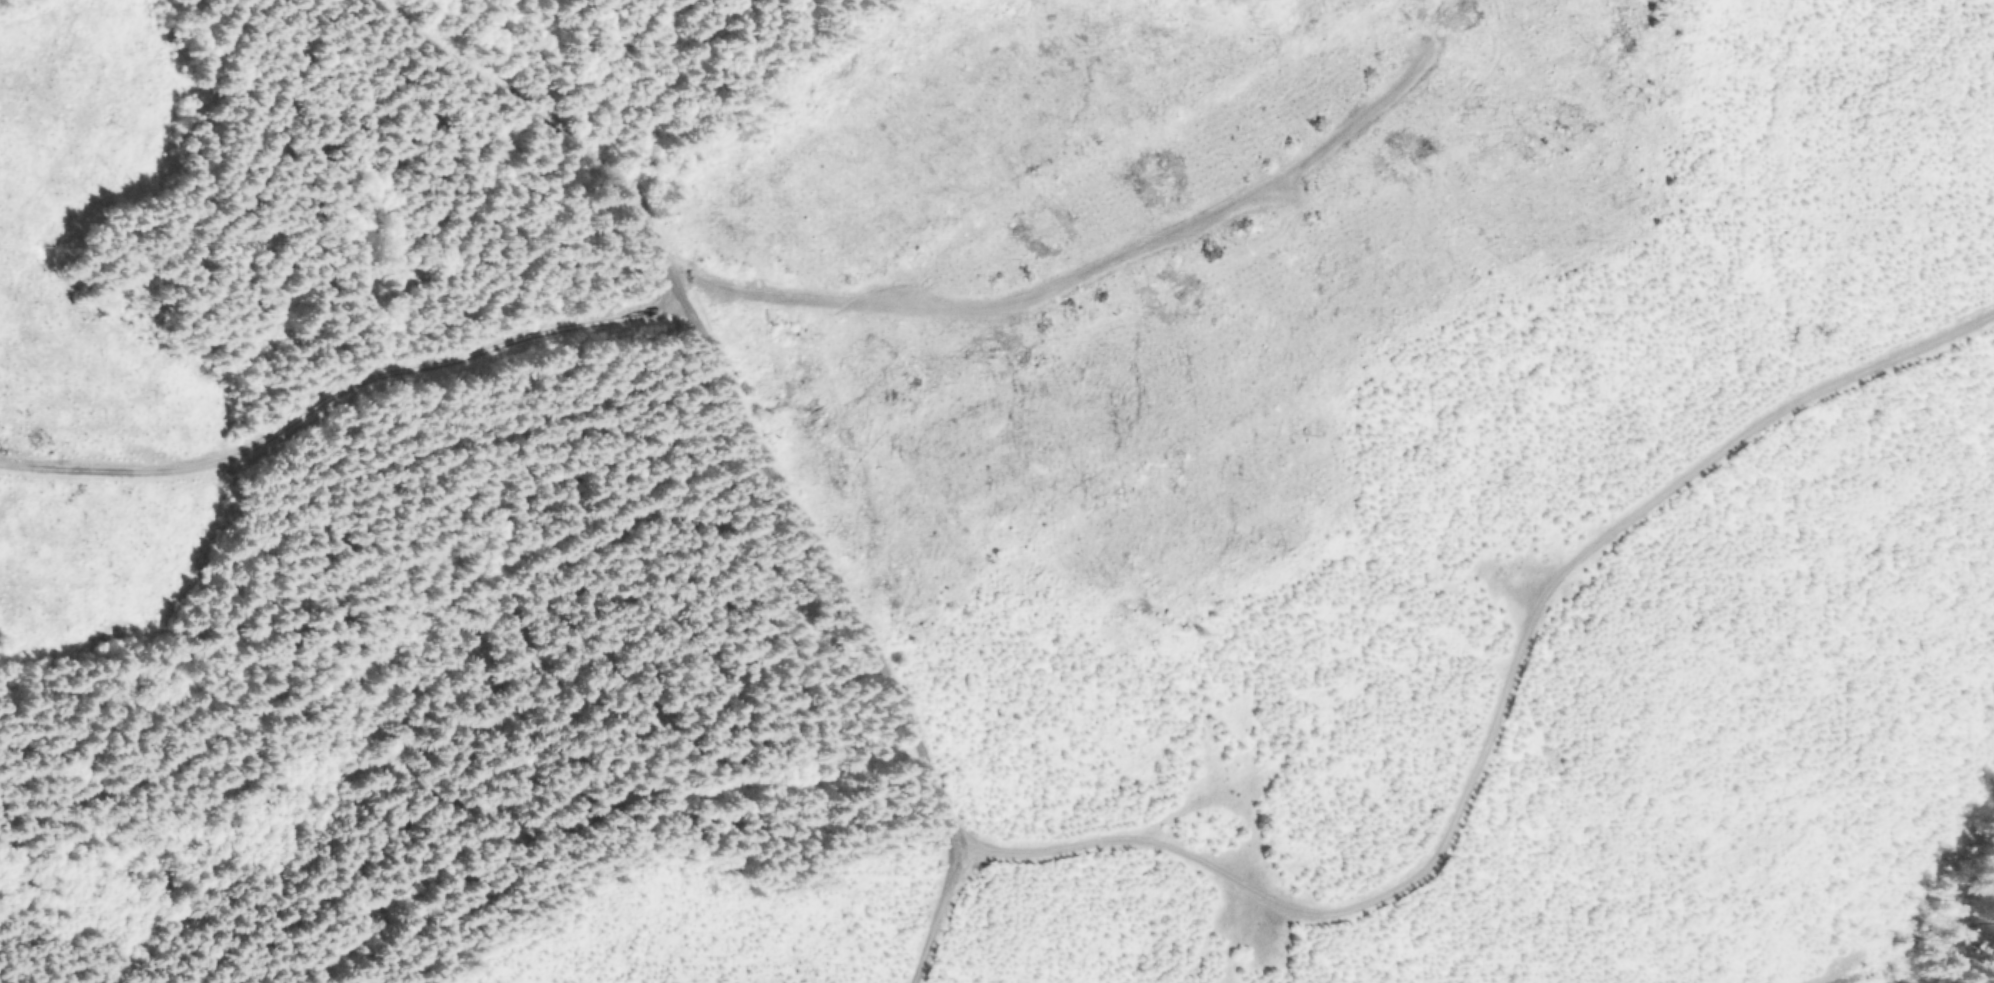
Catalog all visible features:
road: (341, 395)
road: (755, 436)
road: (1492, 719)

